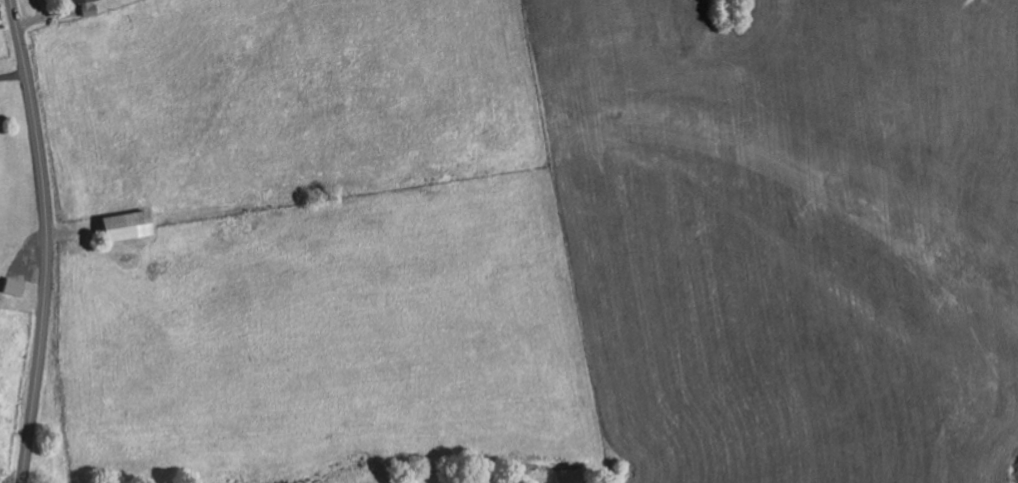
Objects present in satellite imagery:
building: (83, 6)
building: (119, 226)
road: (48, 240)
building: (11, 287)

